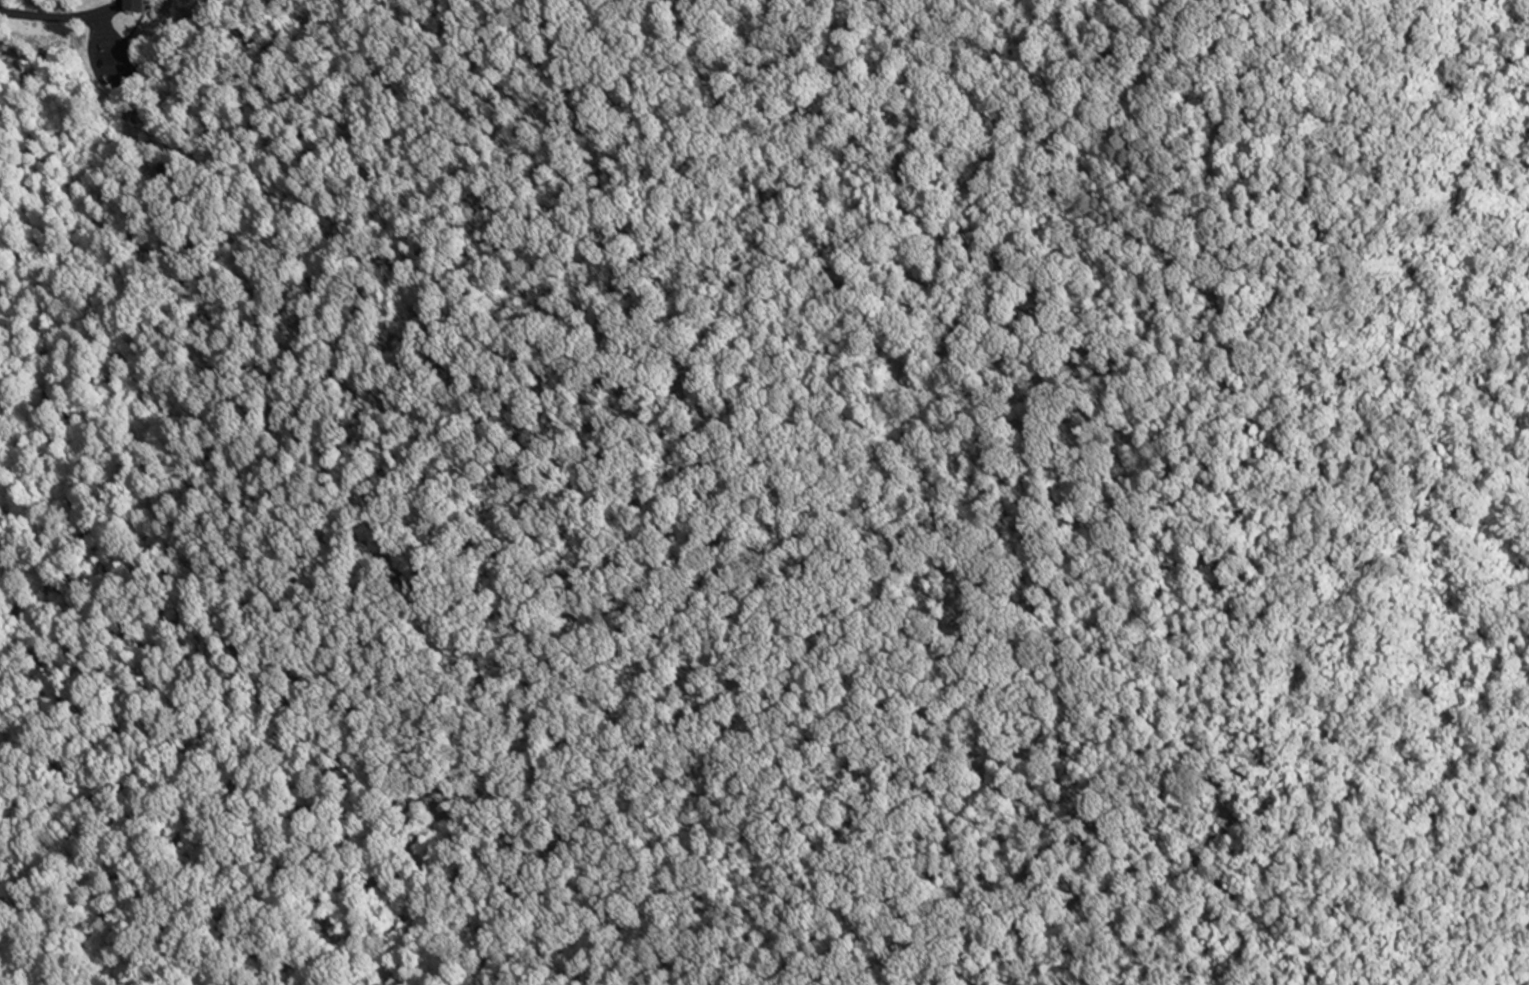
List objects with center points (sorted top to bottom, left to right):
building: (132, 8)
road: (49, 17)
road: (1207, 483)

